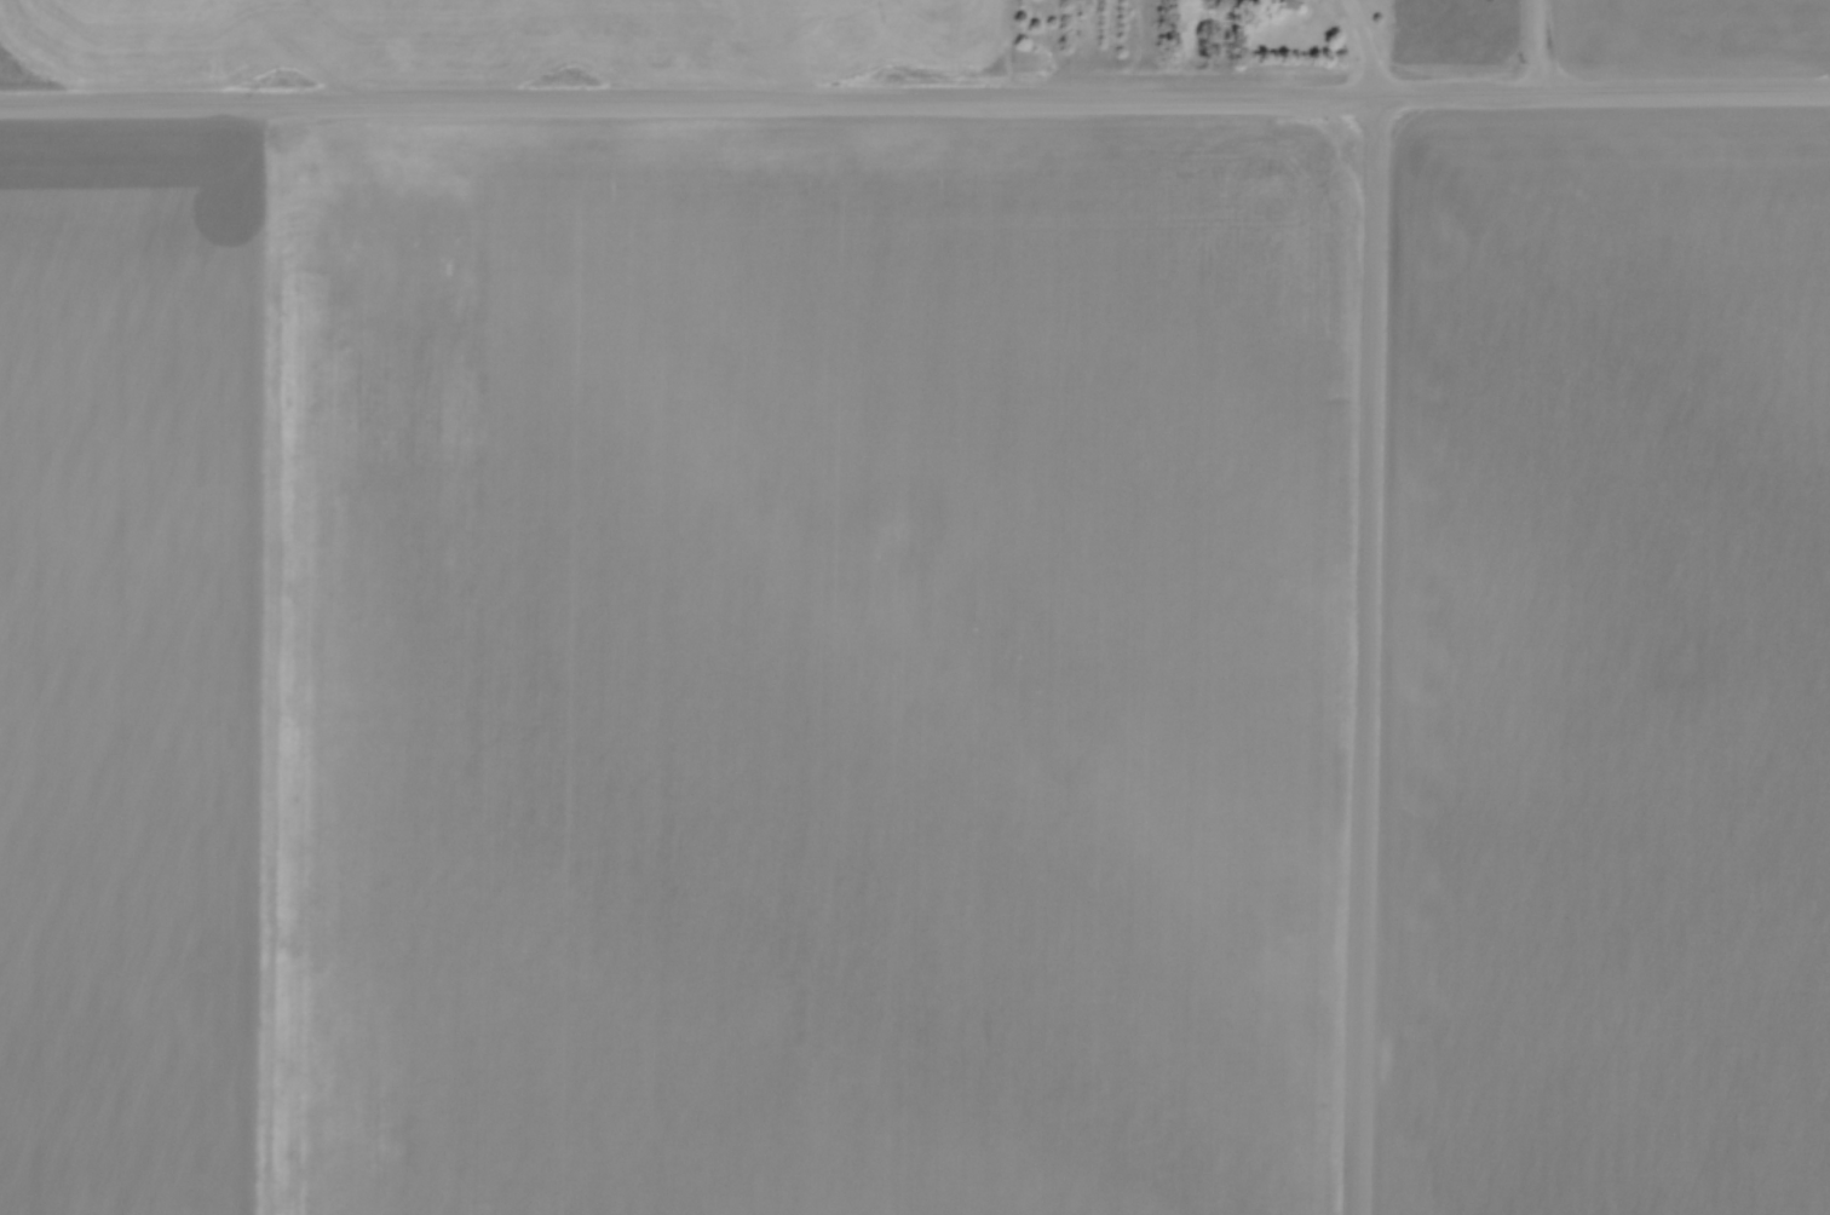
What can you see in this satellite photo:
building: (1278, 2)
crop: (1690, 35)
crop: (499, 40)
road: (1359, 47)
road: (915, 99)
road: (1362, 655)
crop: (671, 664)
crop: (1605, 666)

